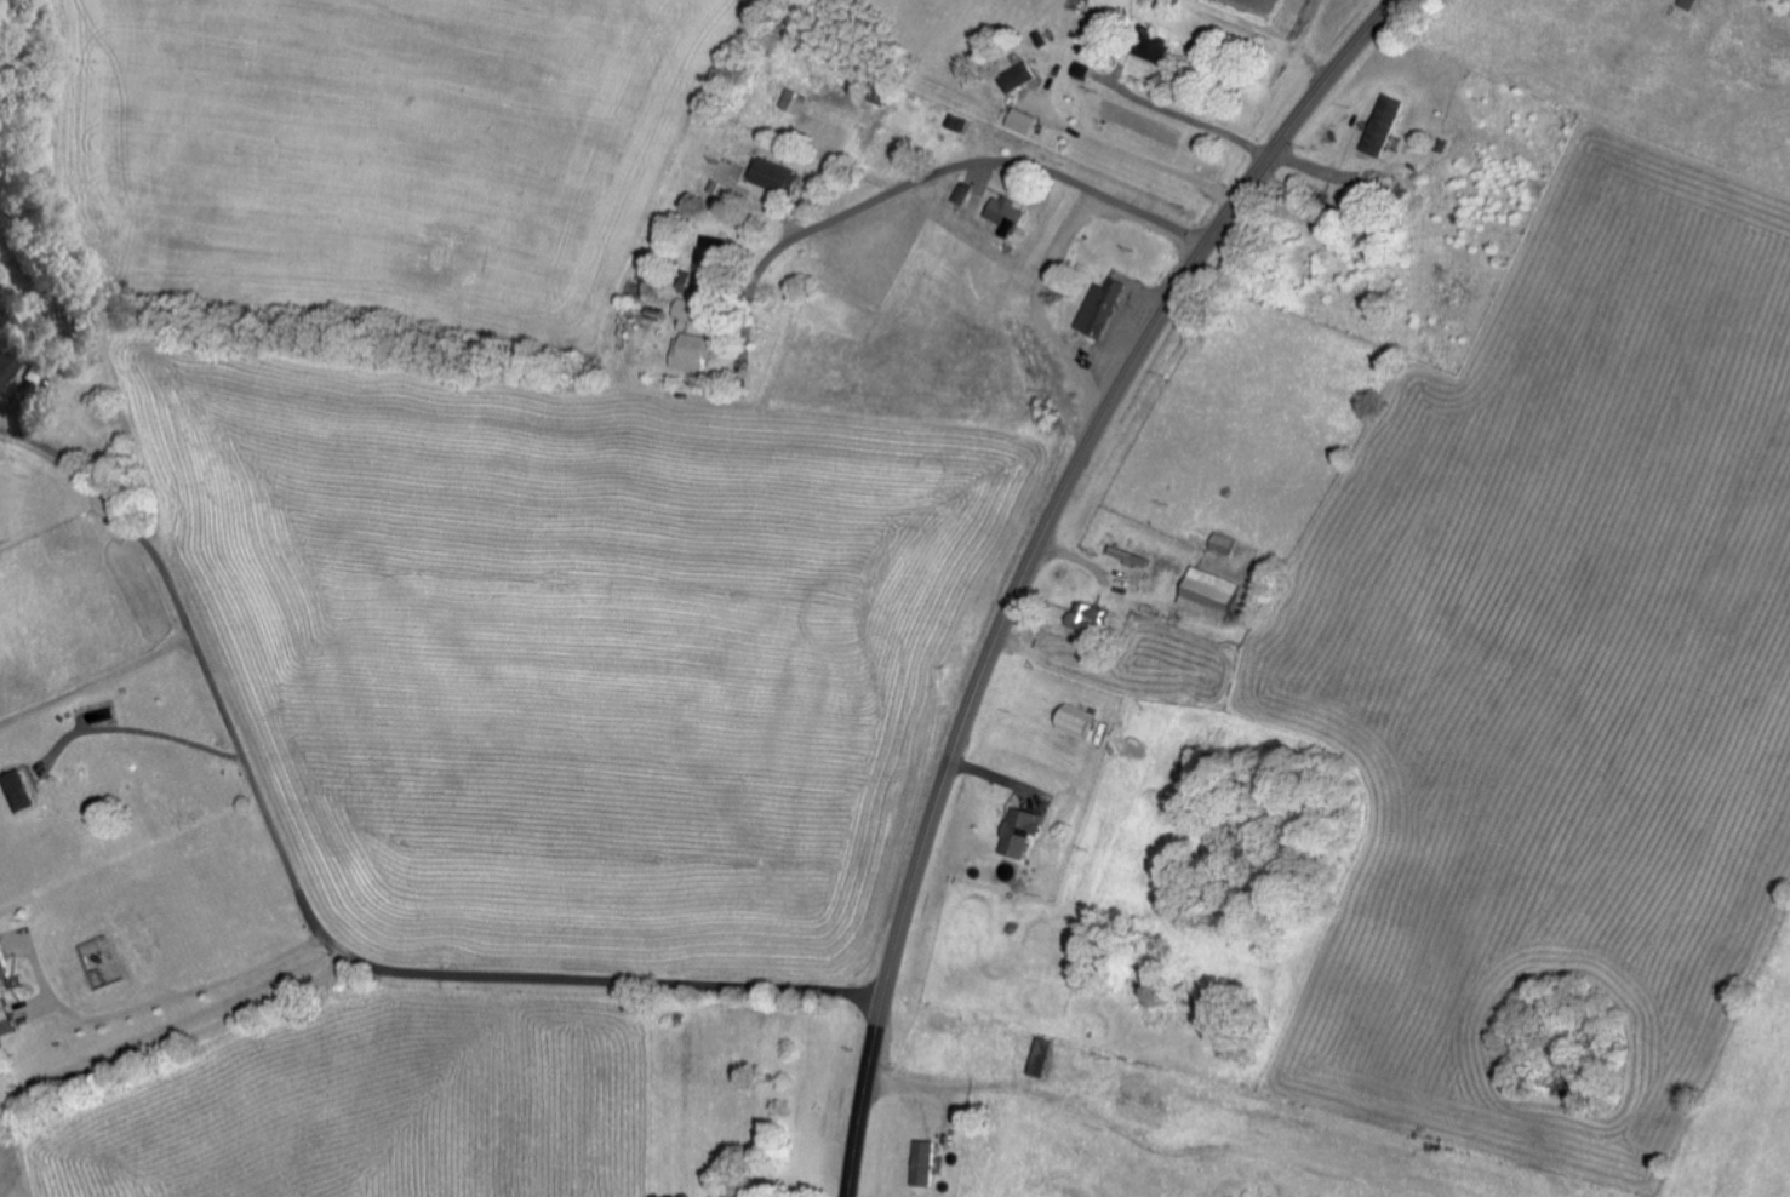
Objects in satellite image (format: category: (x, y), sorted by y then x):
building: (1687, 4)
building: (1148, 46)
building: (1012, 75)
building: (799, 98)
building: (1019, 120)
building: (1379, 124)
road: (936, 173)
building: (787, 176)
building: (960, 191)
building: (1002, 213)
building: (713, 283)
building: (1097, 308)
building: (697, 309)
building: (700, 351)
building: (10, 370)
building: (1130, 556)
road: (1030, 557)
building: (1207, 592)
building: (1091, 618)
road: (97, 681)
building: (1073, 720)
building: (25, 790)
building: (1018, 830)
road: (222, 892)
road: (307, 917)
building: (6, 961)
building: (8, 1015)
road: (176, 1039)
building: (1050, 1054)
building: (928, 1161)

